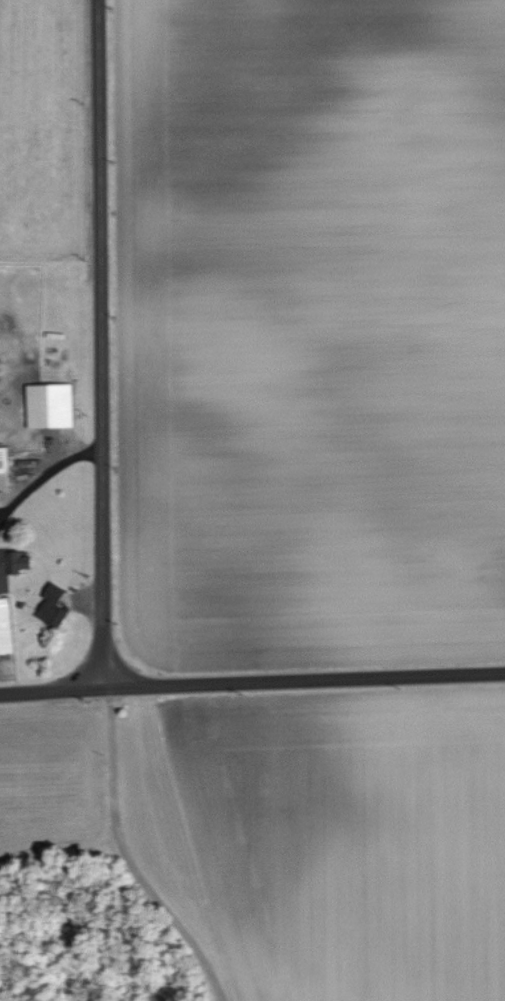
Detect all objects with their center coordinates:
road: (87, 343)
building: (45, 405)
building: (1, 468)
road: (40, 478)
building: (10, 561)
building: (47, 605)
building: (3, 627)
road: (304, 679)
road: (51, 690)
road: (131, 857)

